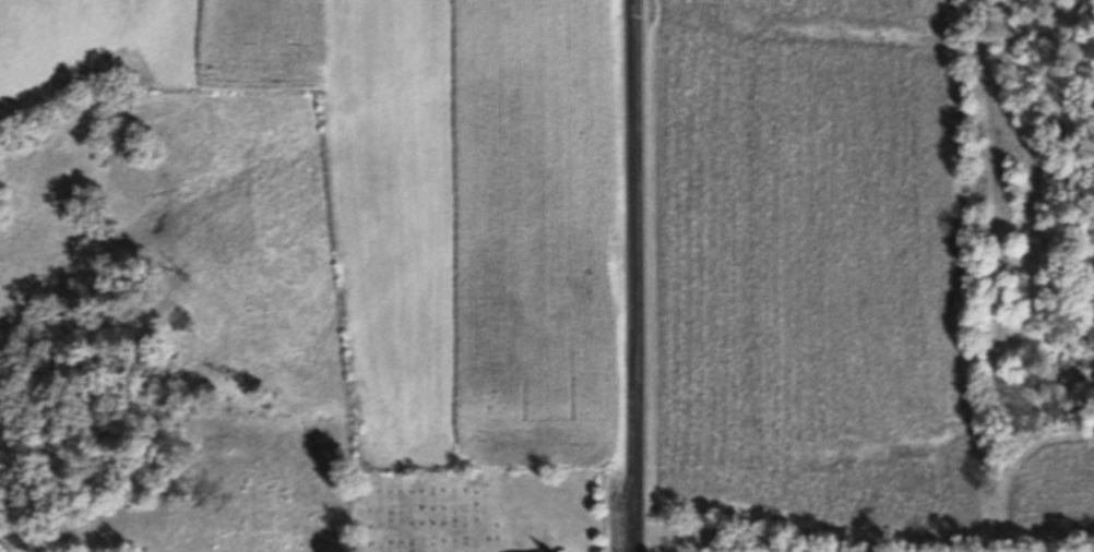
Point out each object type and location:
road: (634, 276)
park: (429, 511)

